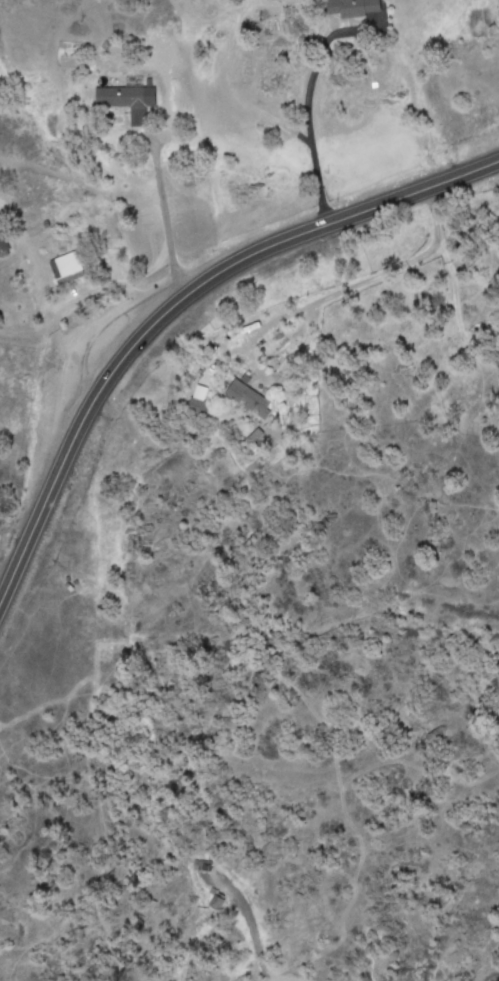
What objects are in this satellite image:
building: (126, 98)
road: (306, 106)
road: (168, 218)
building: (4, 243)
building: (71, 269)
road: (177, 306)
building: (253, 399)
building: (203, 402)
building: (220, 902)
road: (253, 929)

